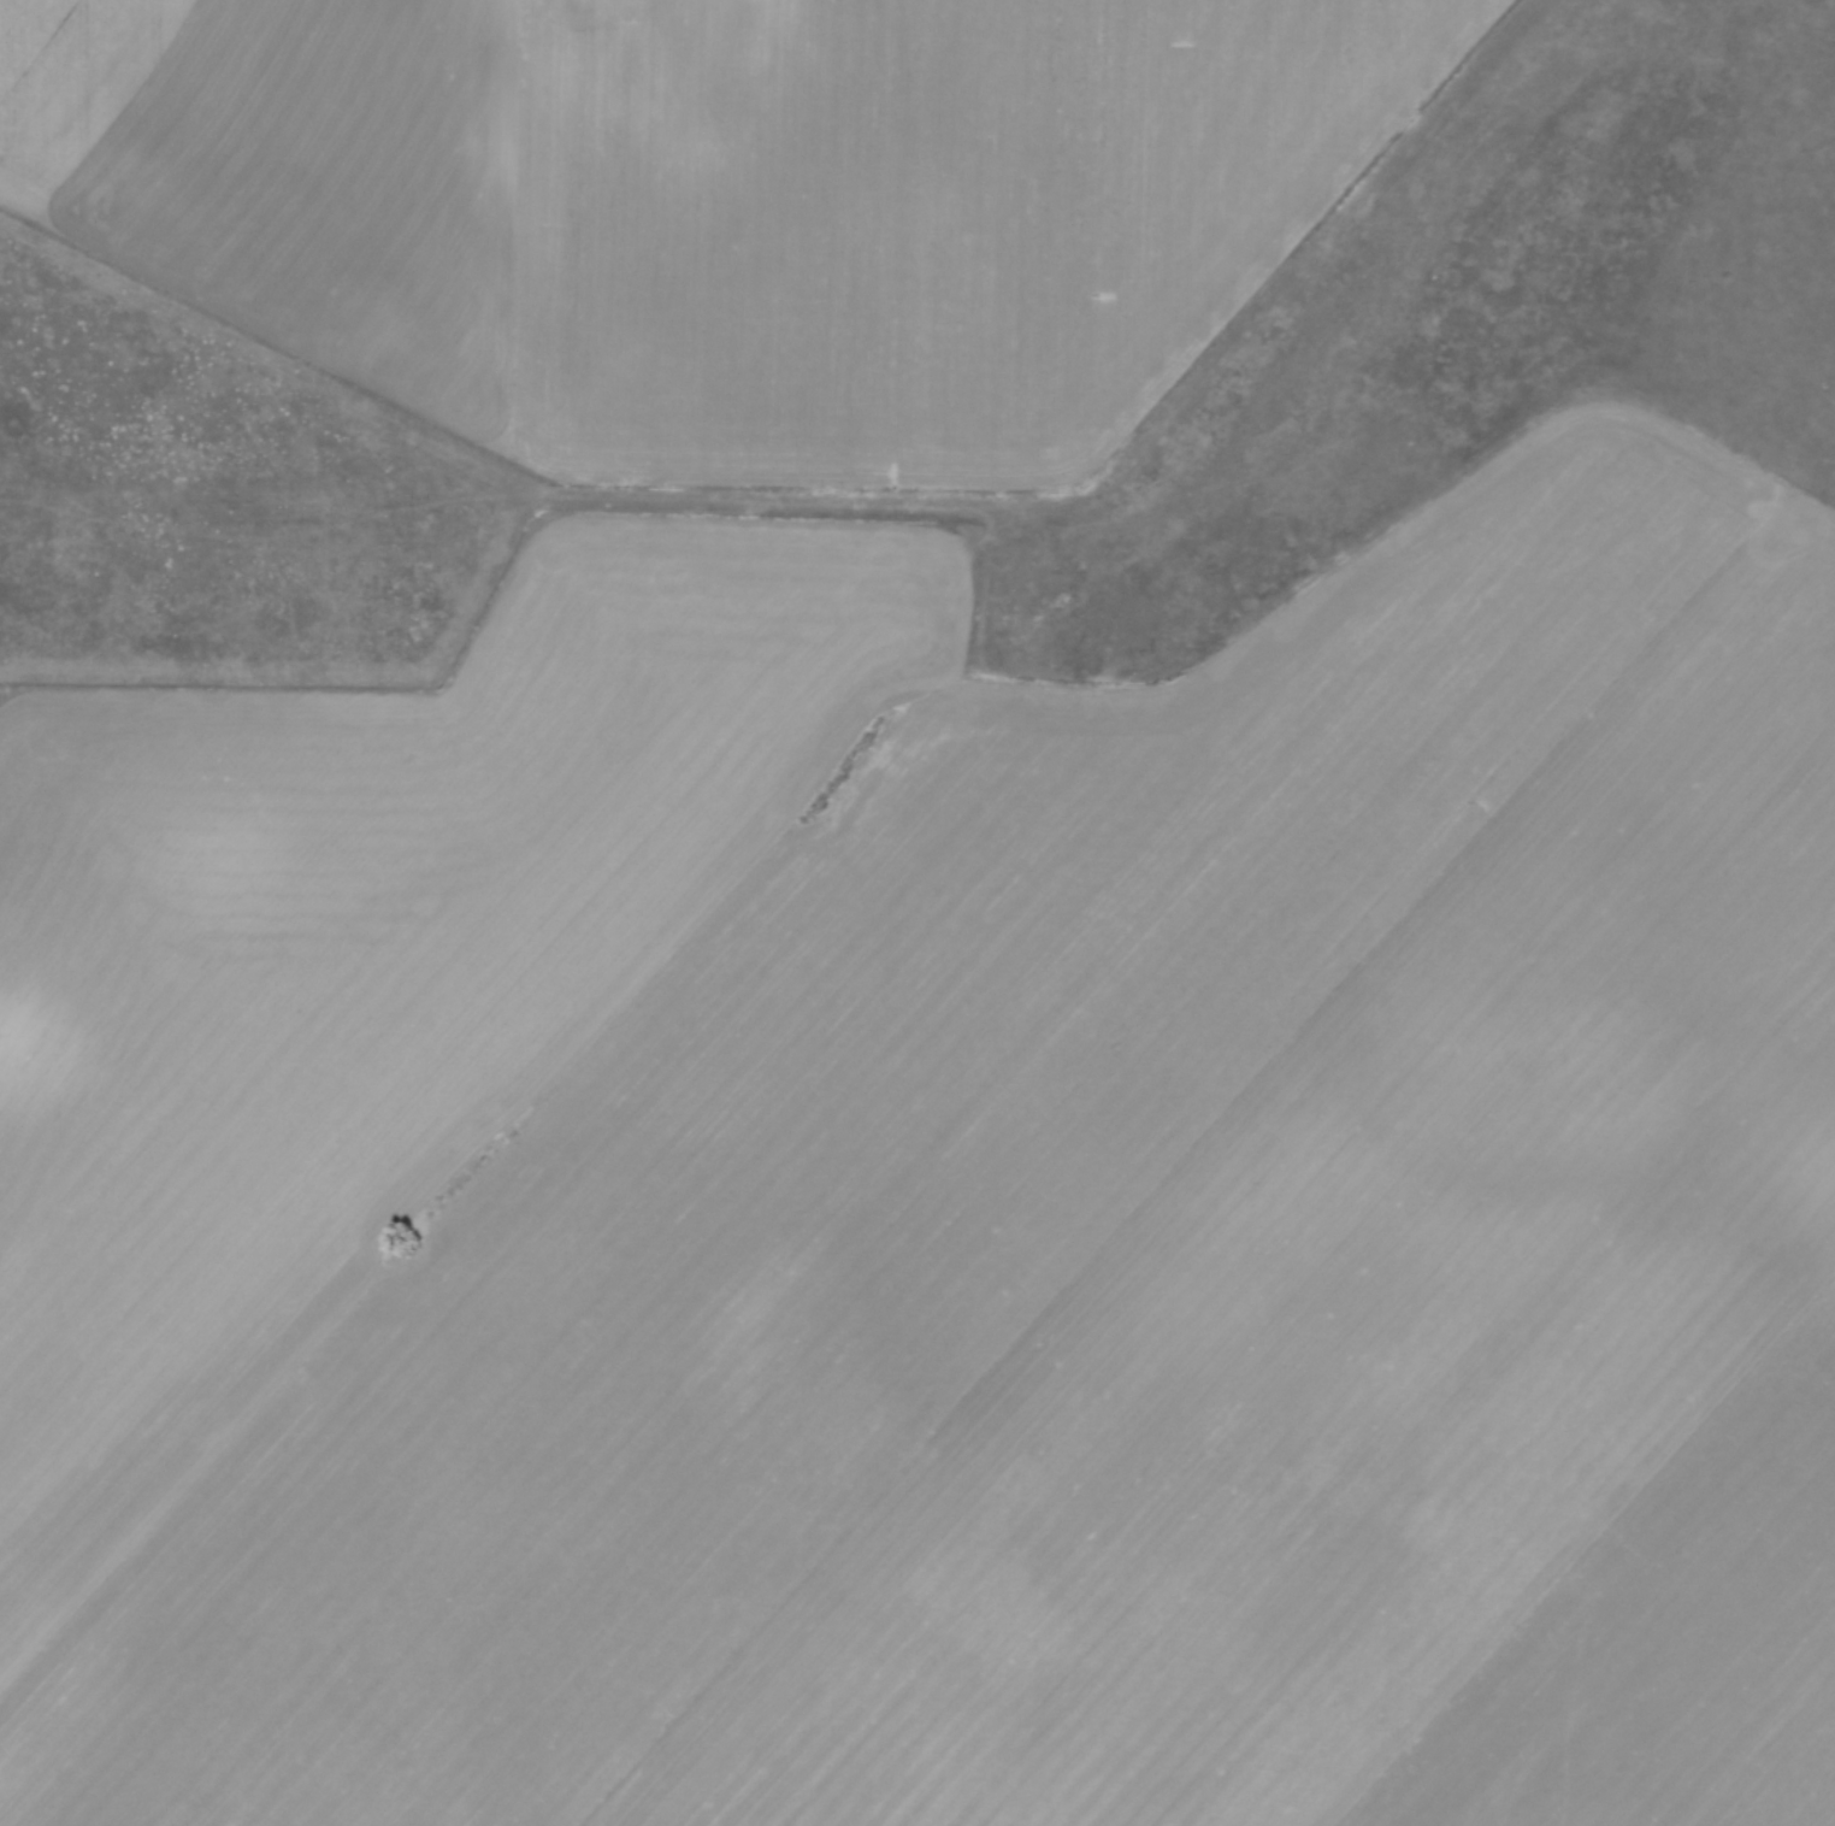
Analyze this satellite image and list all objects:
crop: (721, 207)
crop: (945, 1200)

